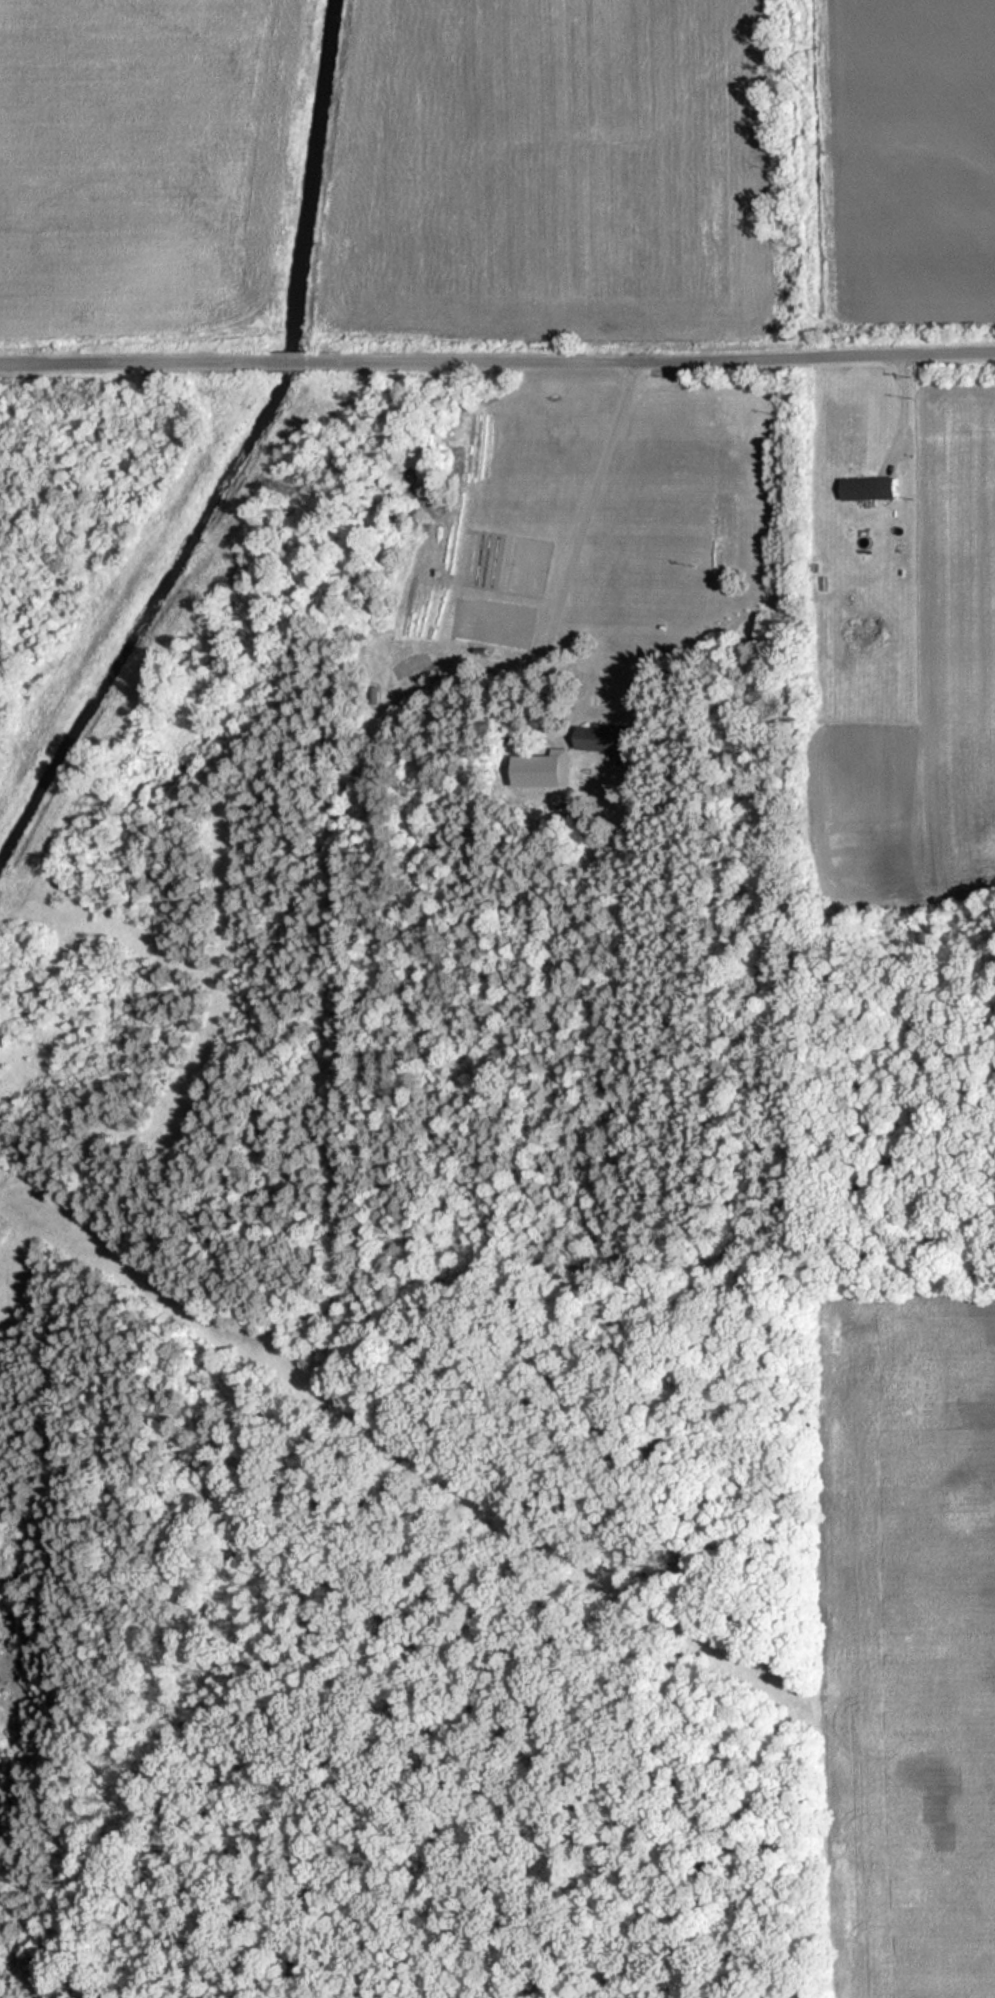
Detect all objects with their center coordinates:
road: (258, 368)
road: (642, 368)
road: (114, 370)
river: (241, 453)
building: (871, 488)
building: (608, 738)

